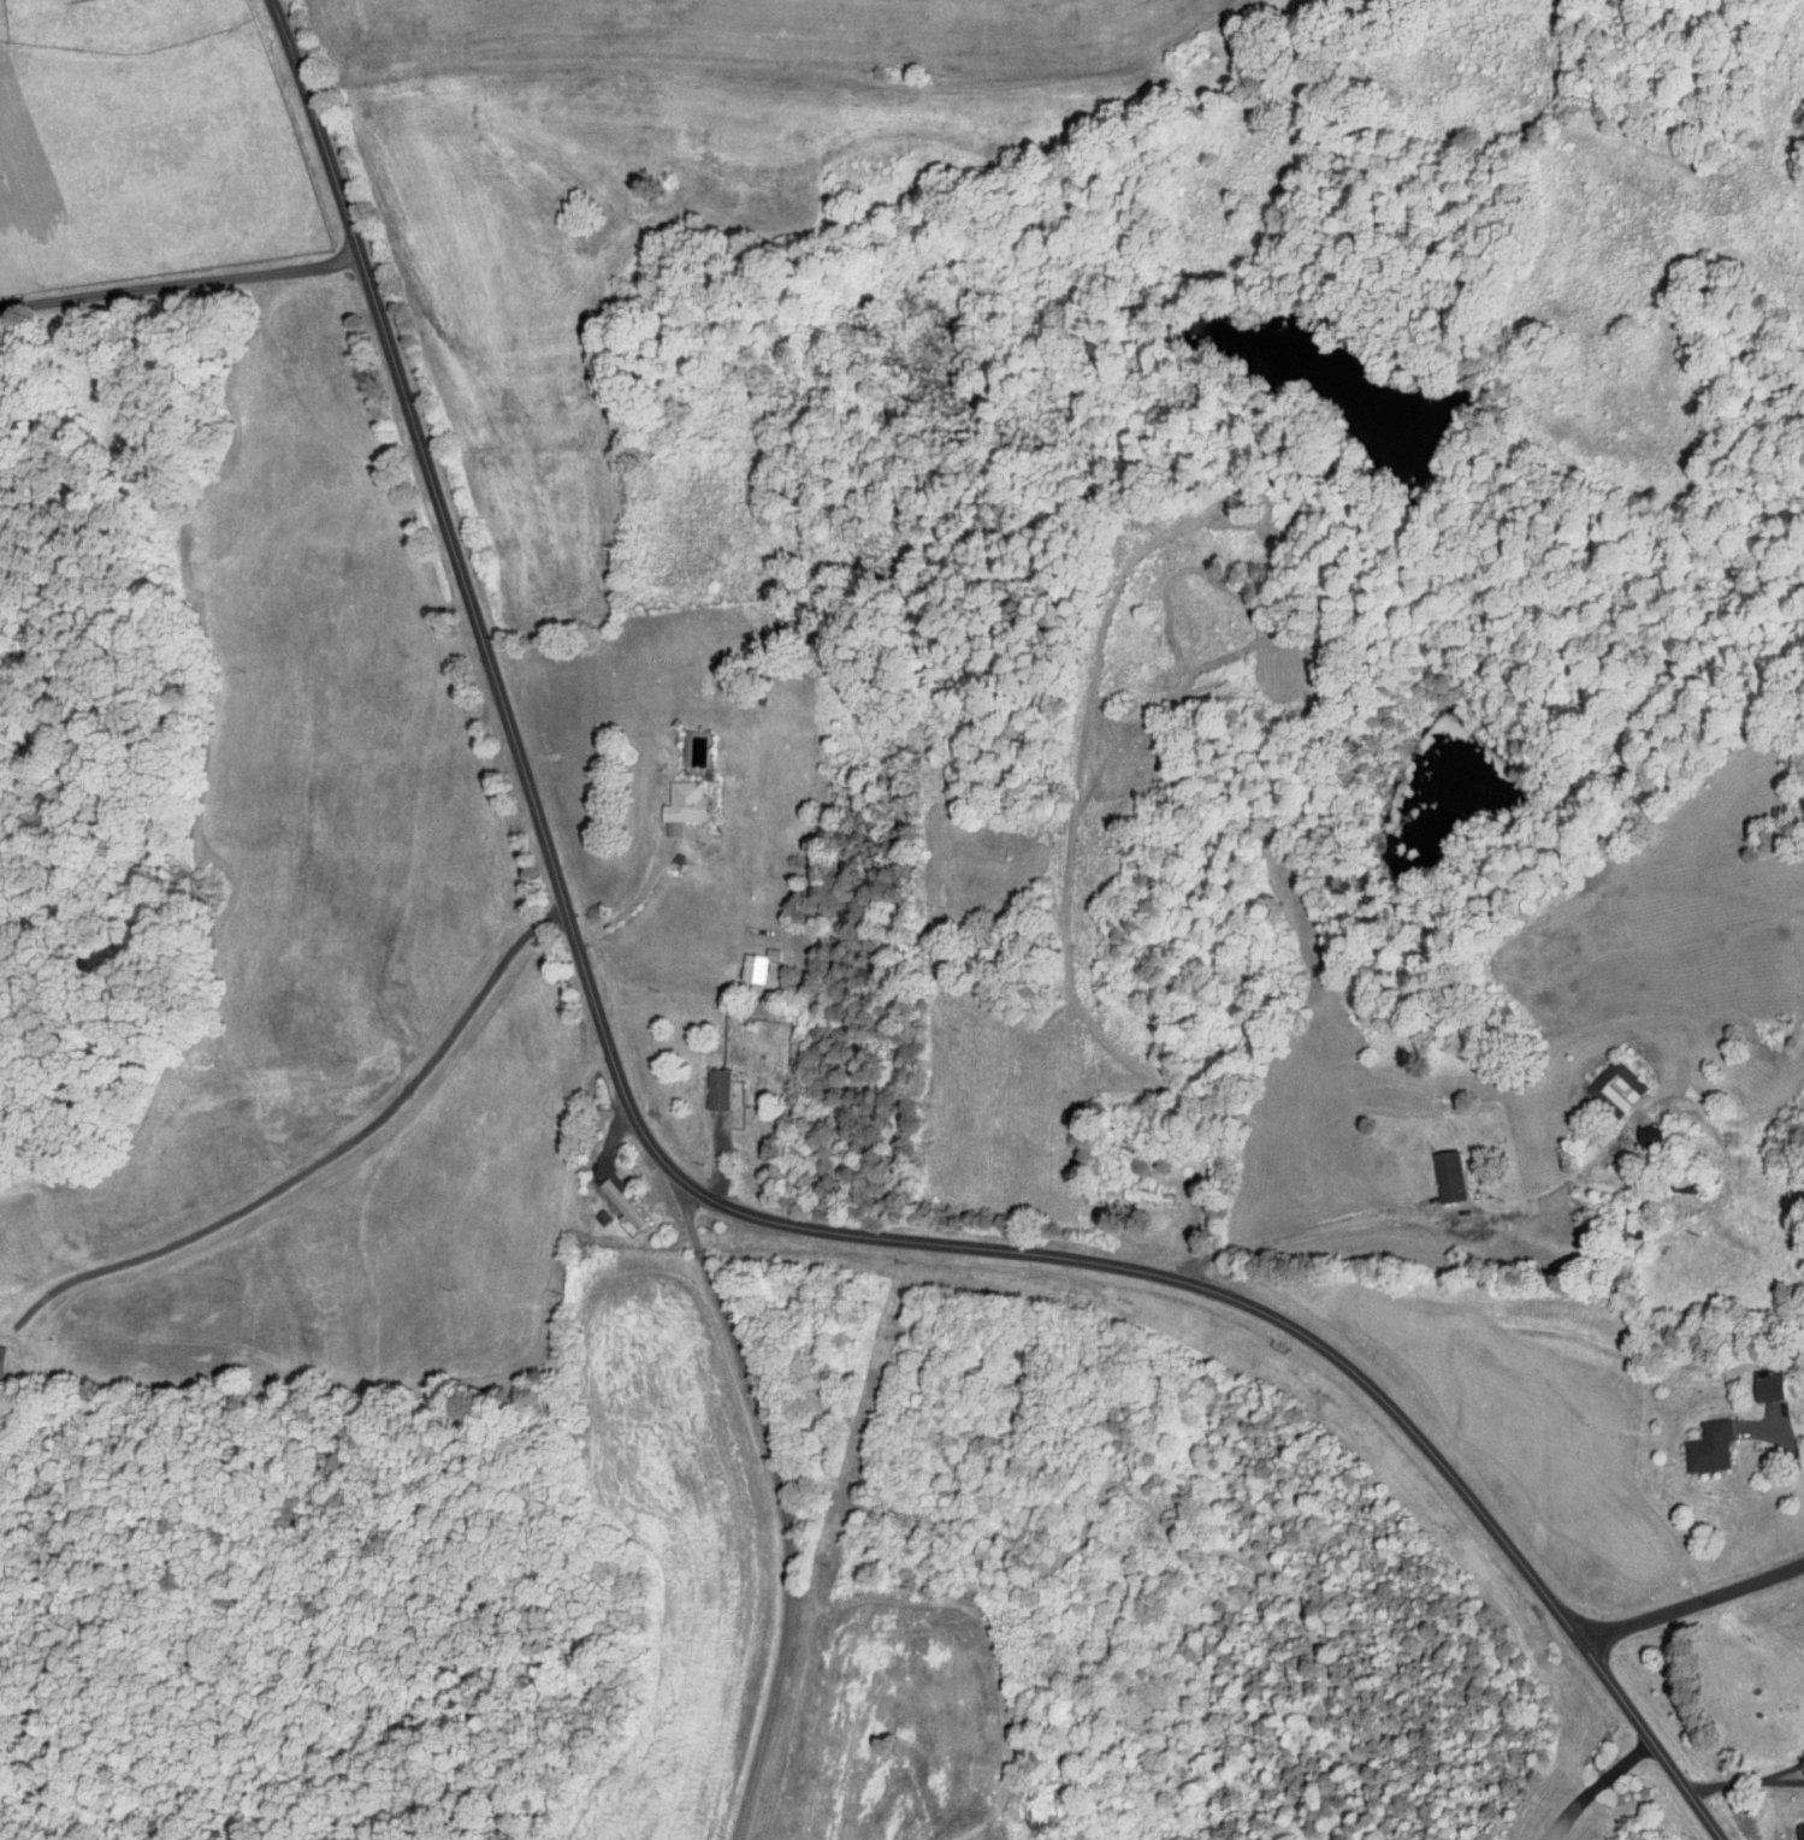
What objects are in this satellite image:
road: (183, 278)
building: (684, 804)
road: (646, 871)
building: (1616, 1085)
building: (720, 1088)
road: (763, 1105)
building: (1450, 1175)
road: (646, 1184)
road: (711, 1193)
building: (622, 1202)
road: (1423, 1213)
road: (688, 1215)
road: (1157, 1220)
road: (806, 1260)
building: (2, 1359)
building: (1769, 1384)
road: (1793, 1444)
building: (1710, 1445)
road: (786, 1539)
road: (1691, 1603)
road: (1784, 1769)
road: (1785, 1780)
road: (1726, 1783)
road: (1602, 1788)
building: (1800, 1829)

